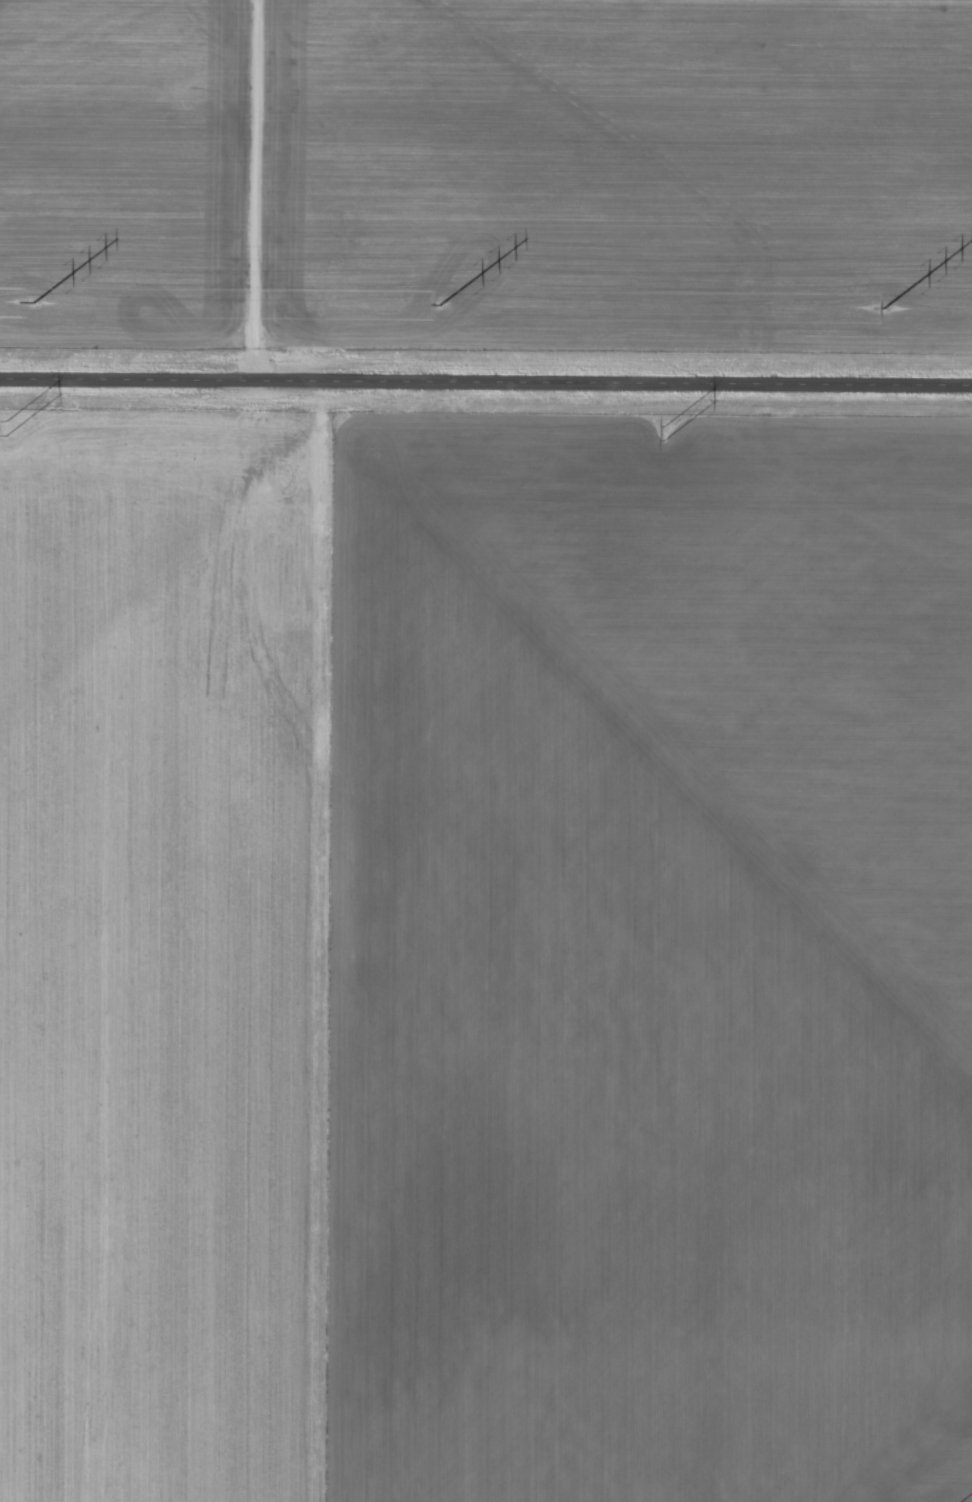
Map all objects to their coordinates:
power tower: (33, 302)
power tower: (439, 304)
power tower: (883, 308)
road: (486, 385)
power tower: (4, 429)
power tower: (662, 434)

